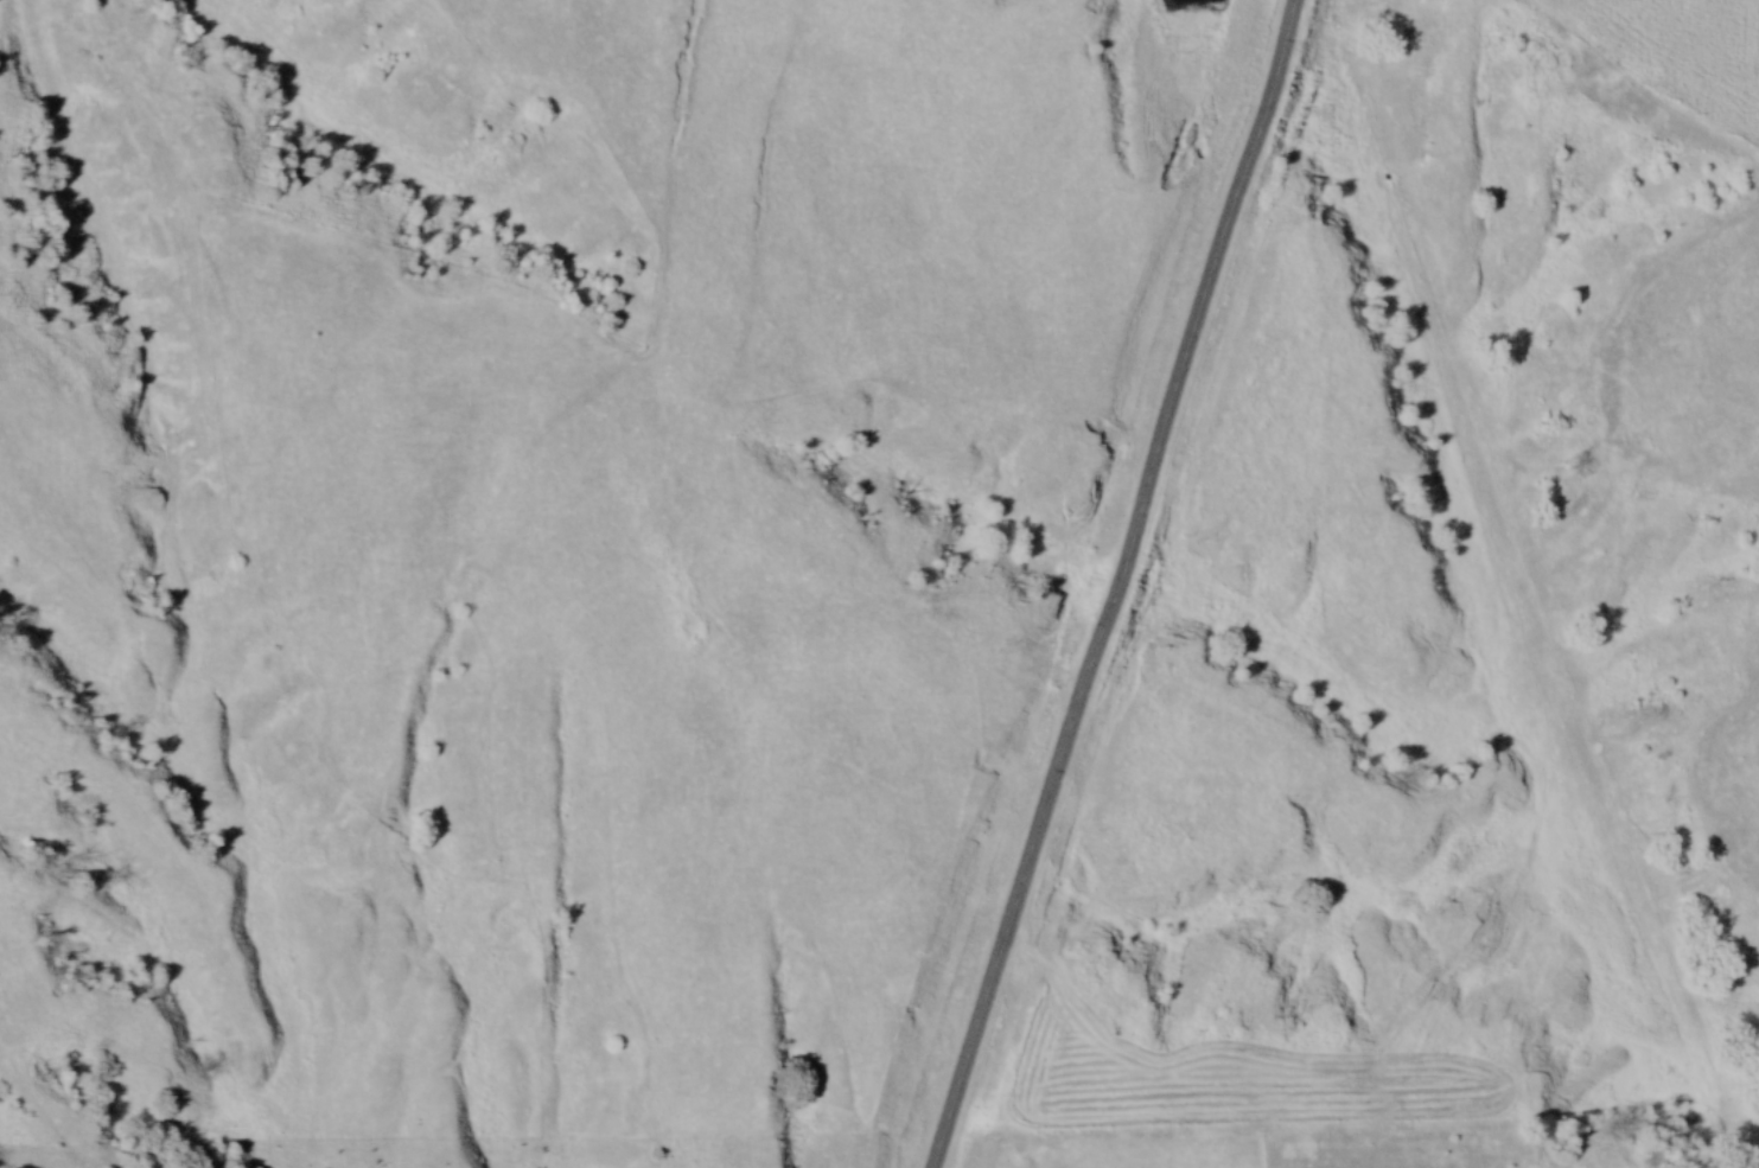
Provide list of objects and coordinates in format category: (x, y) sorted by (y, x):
road: (1114, 583)

